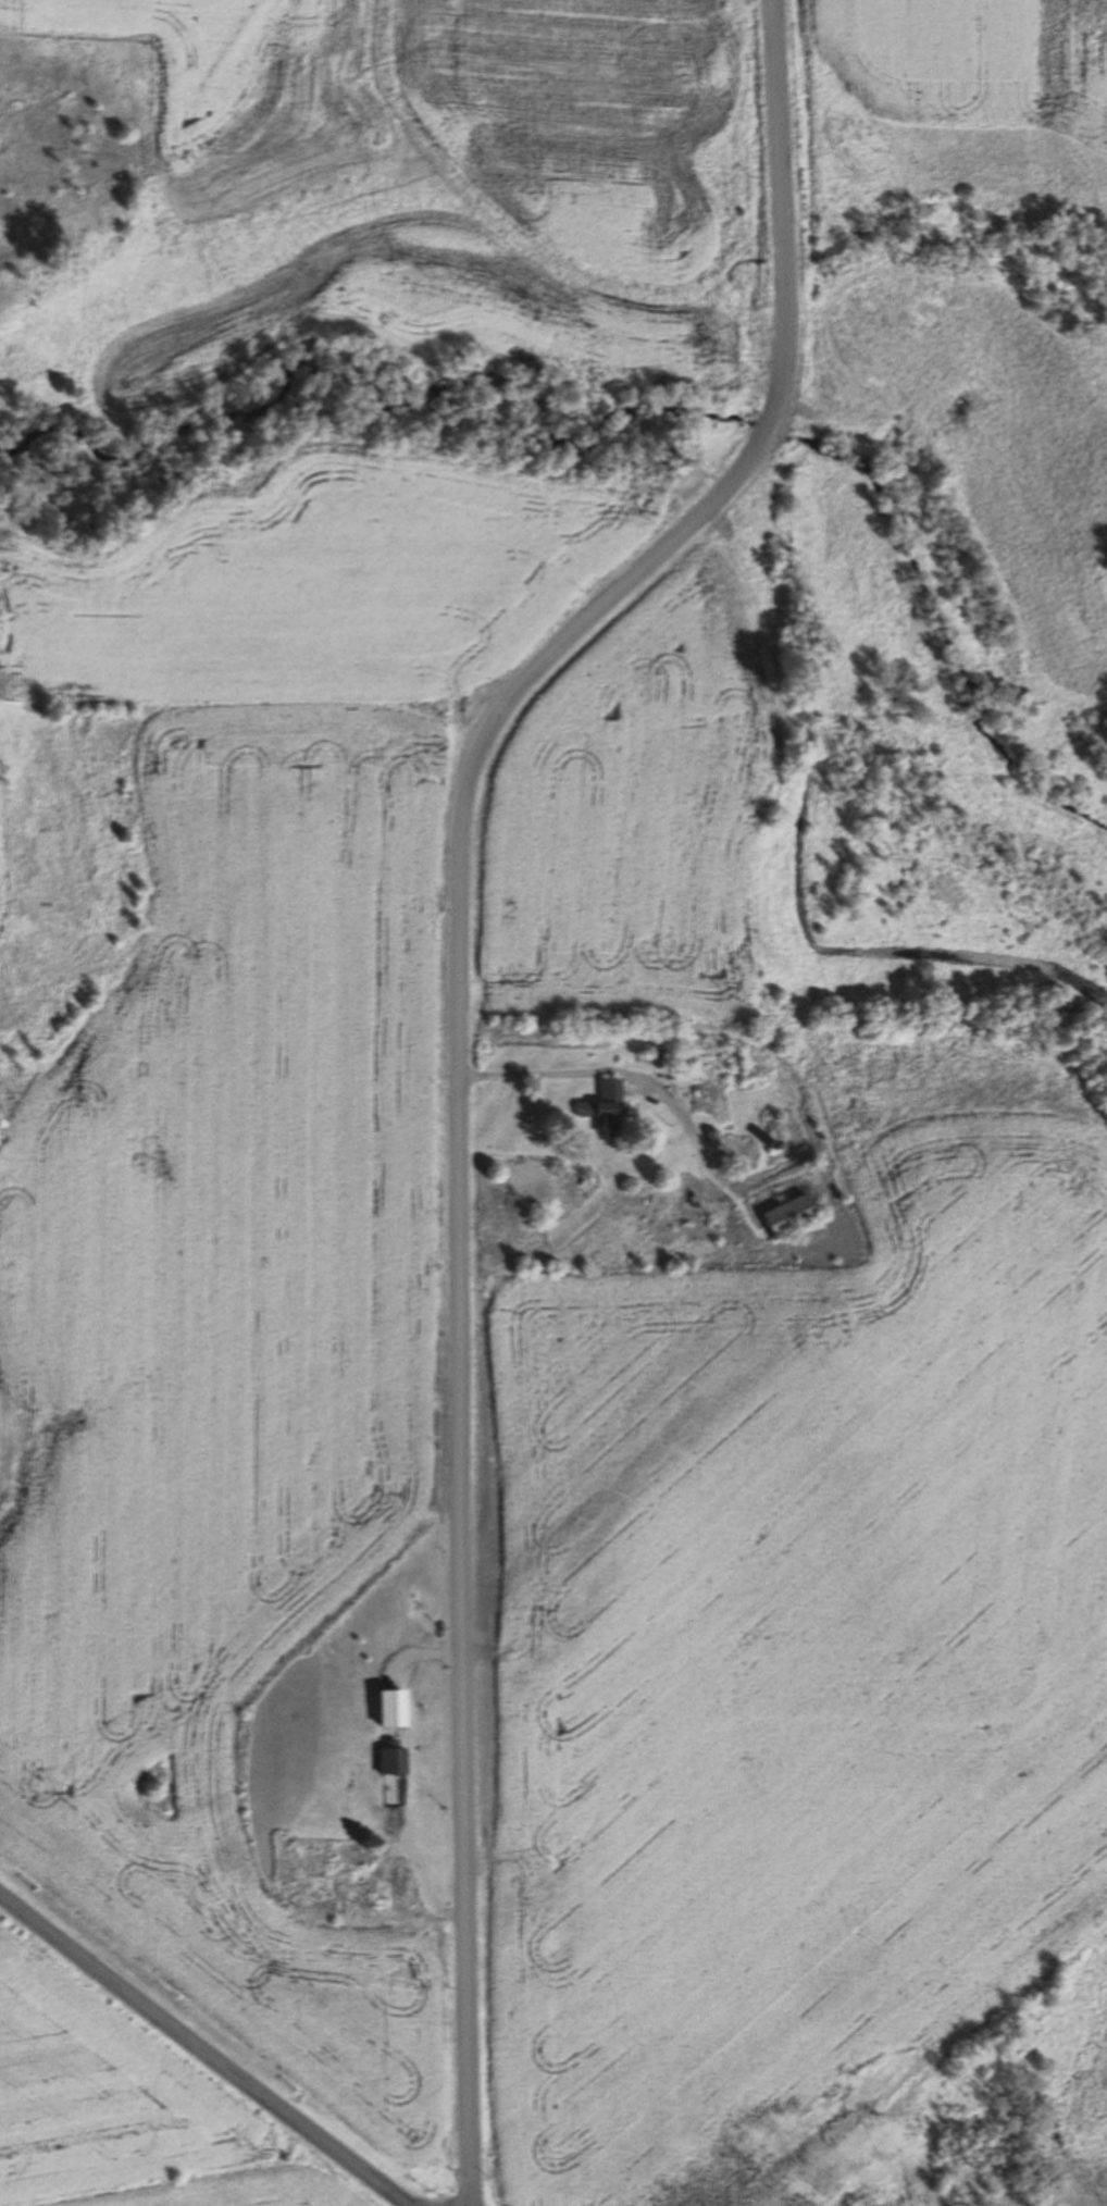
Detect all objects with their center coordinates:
road: (782, 123)
road: (786, 264)
road: (786, 351)
road: (770, 434)
building: (659, 1056)
building: (609, 1107)
building: (716, 1139)
building: (793, 1216)
road: (460, 1268)
building: (394, 1882)
road: (206, 2047)

